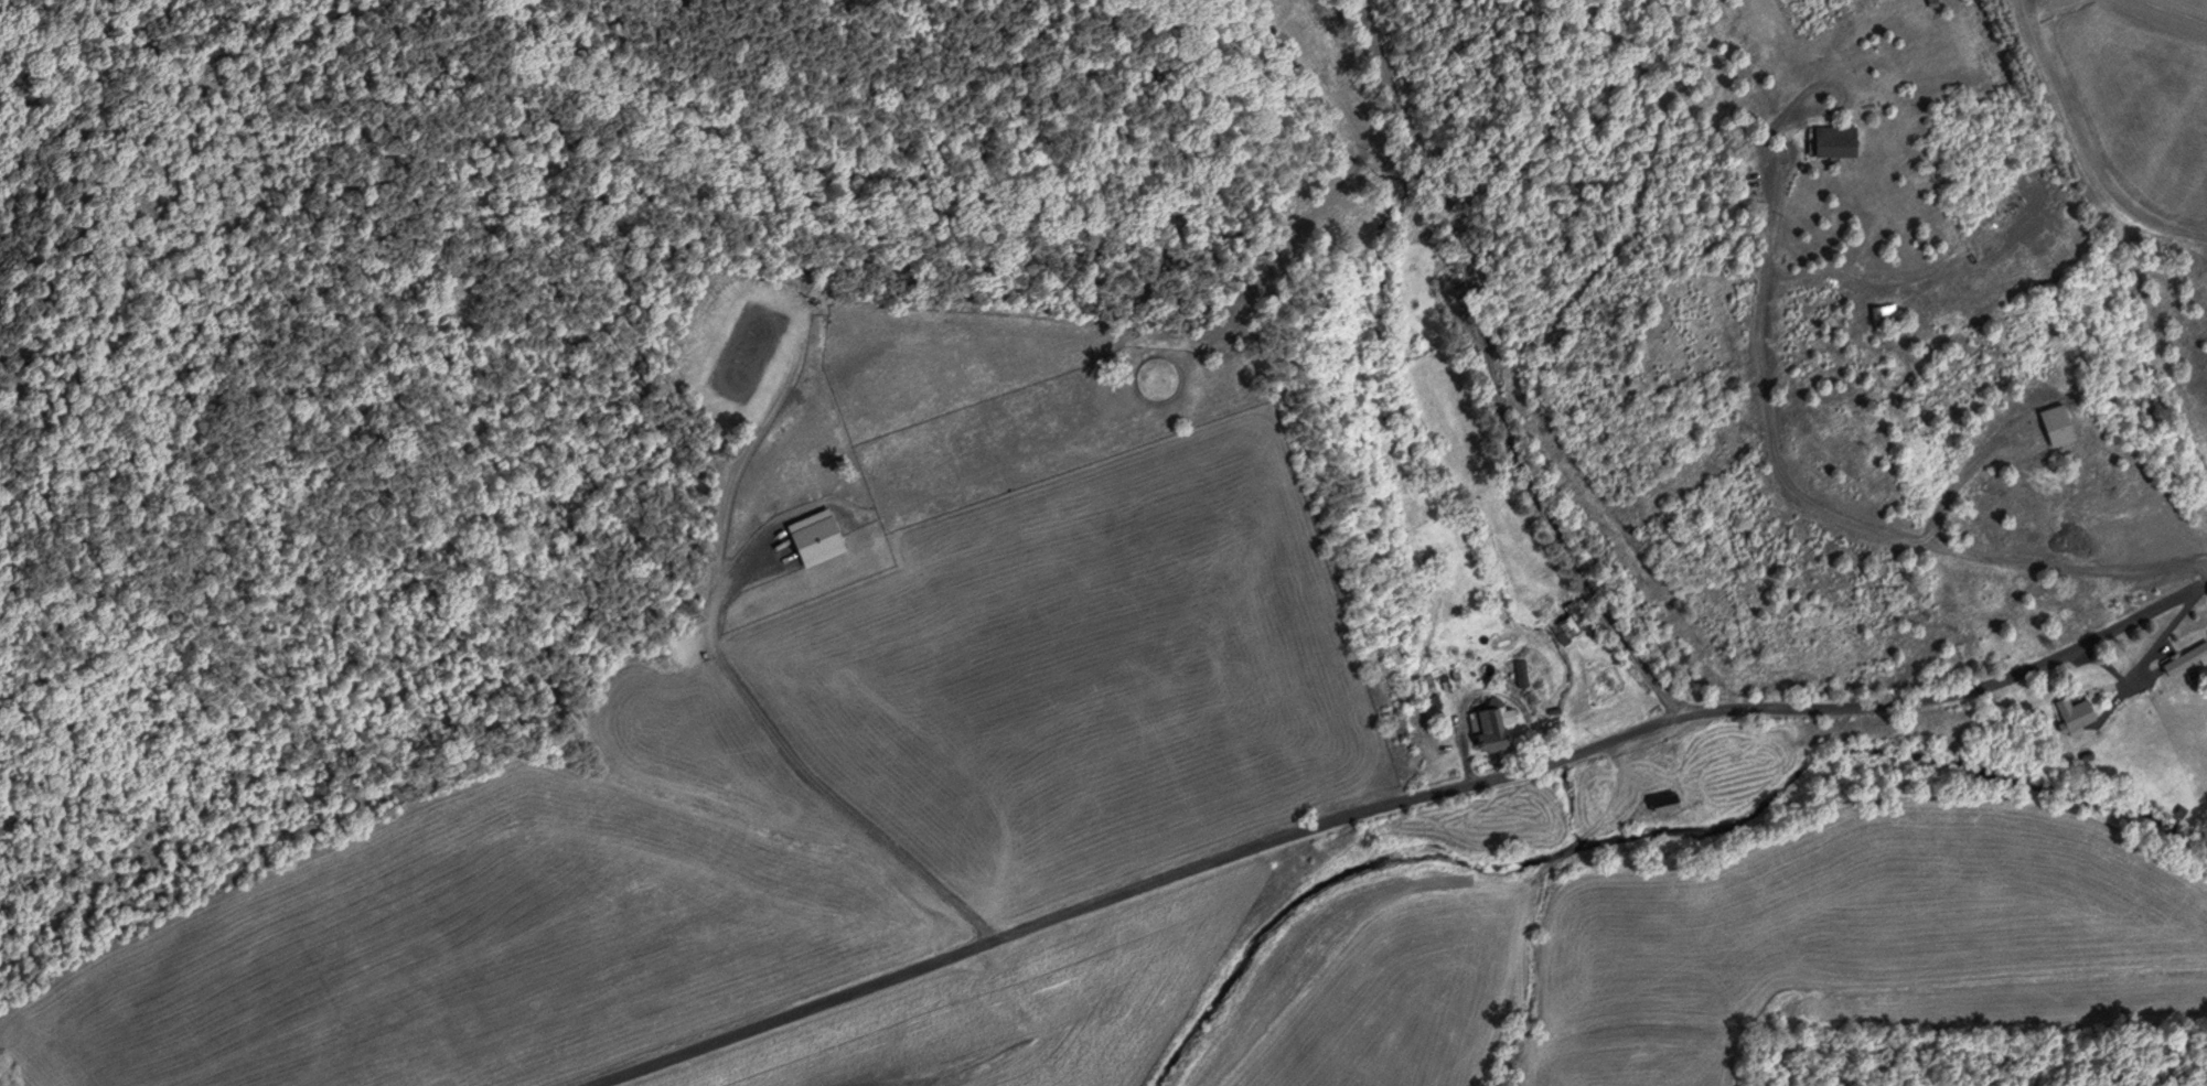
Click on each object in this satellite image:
road: (1840, 88)
building: (1835, 139)
building: (1883, 311)
road: (1492, 369)
building: (2060, 422)
road: (1961, 475)
road: (1815, 506)
building: (1568, 622)
road: (2154, 643)
road: (2110, 685)
building: (2075, 712)
building: (1493, 727)
road: (1388, 805)

